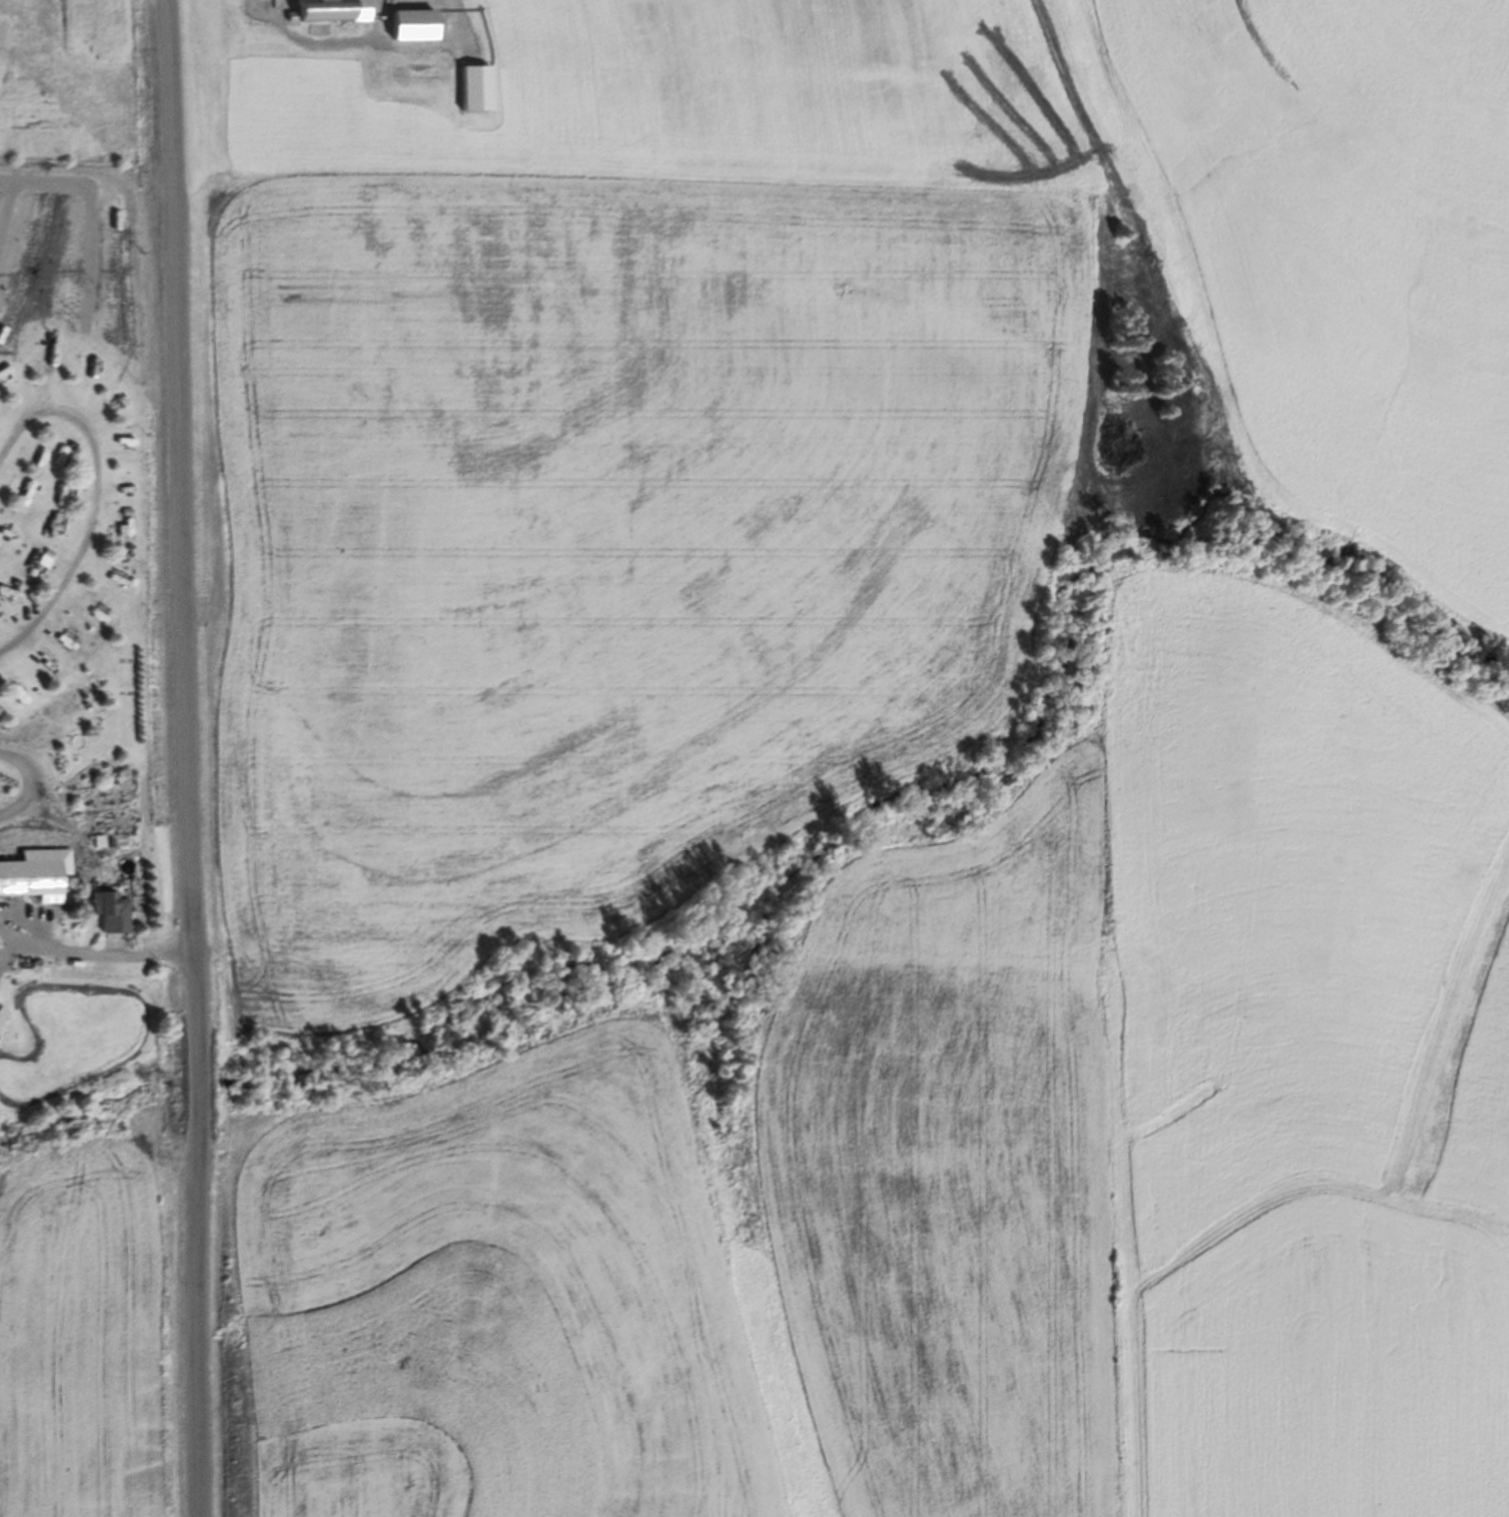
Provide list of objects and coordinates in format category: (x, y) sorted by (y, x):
road: (98, 496)
road: (189, 758)
road: (39, 779)
building: (31, 878)
building: (112, 911)
road: (94, 955)
building: (3, 1015)

